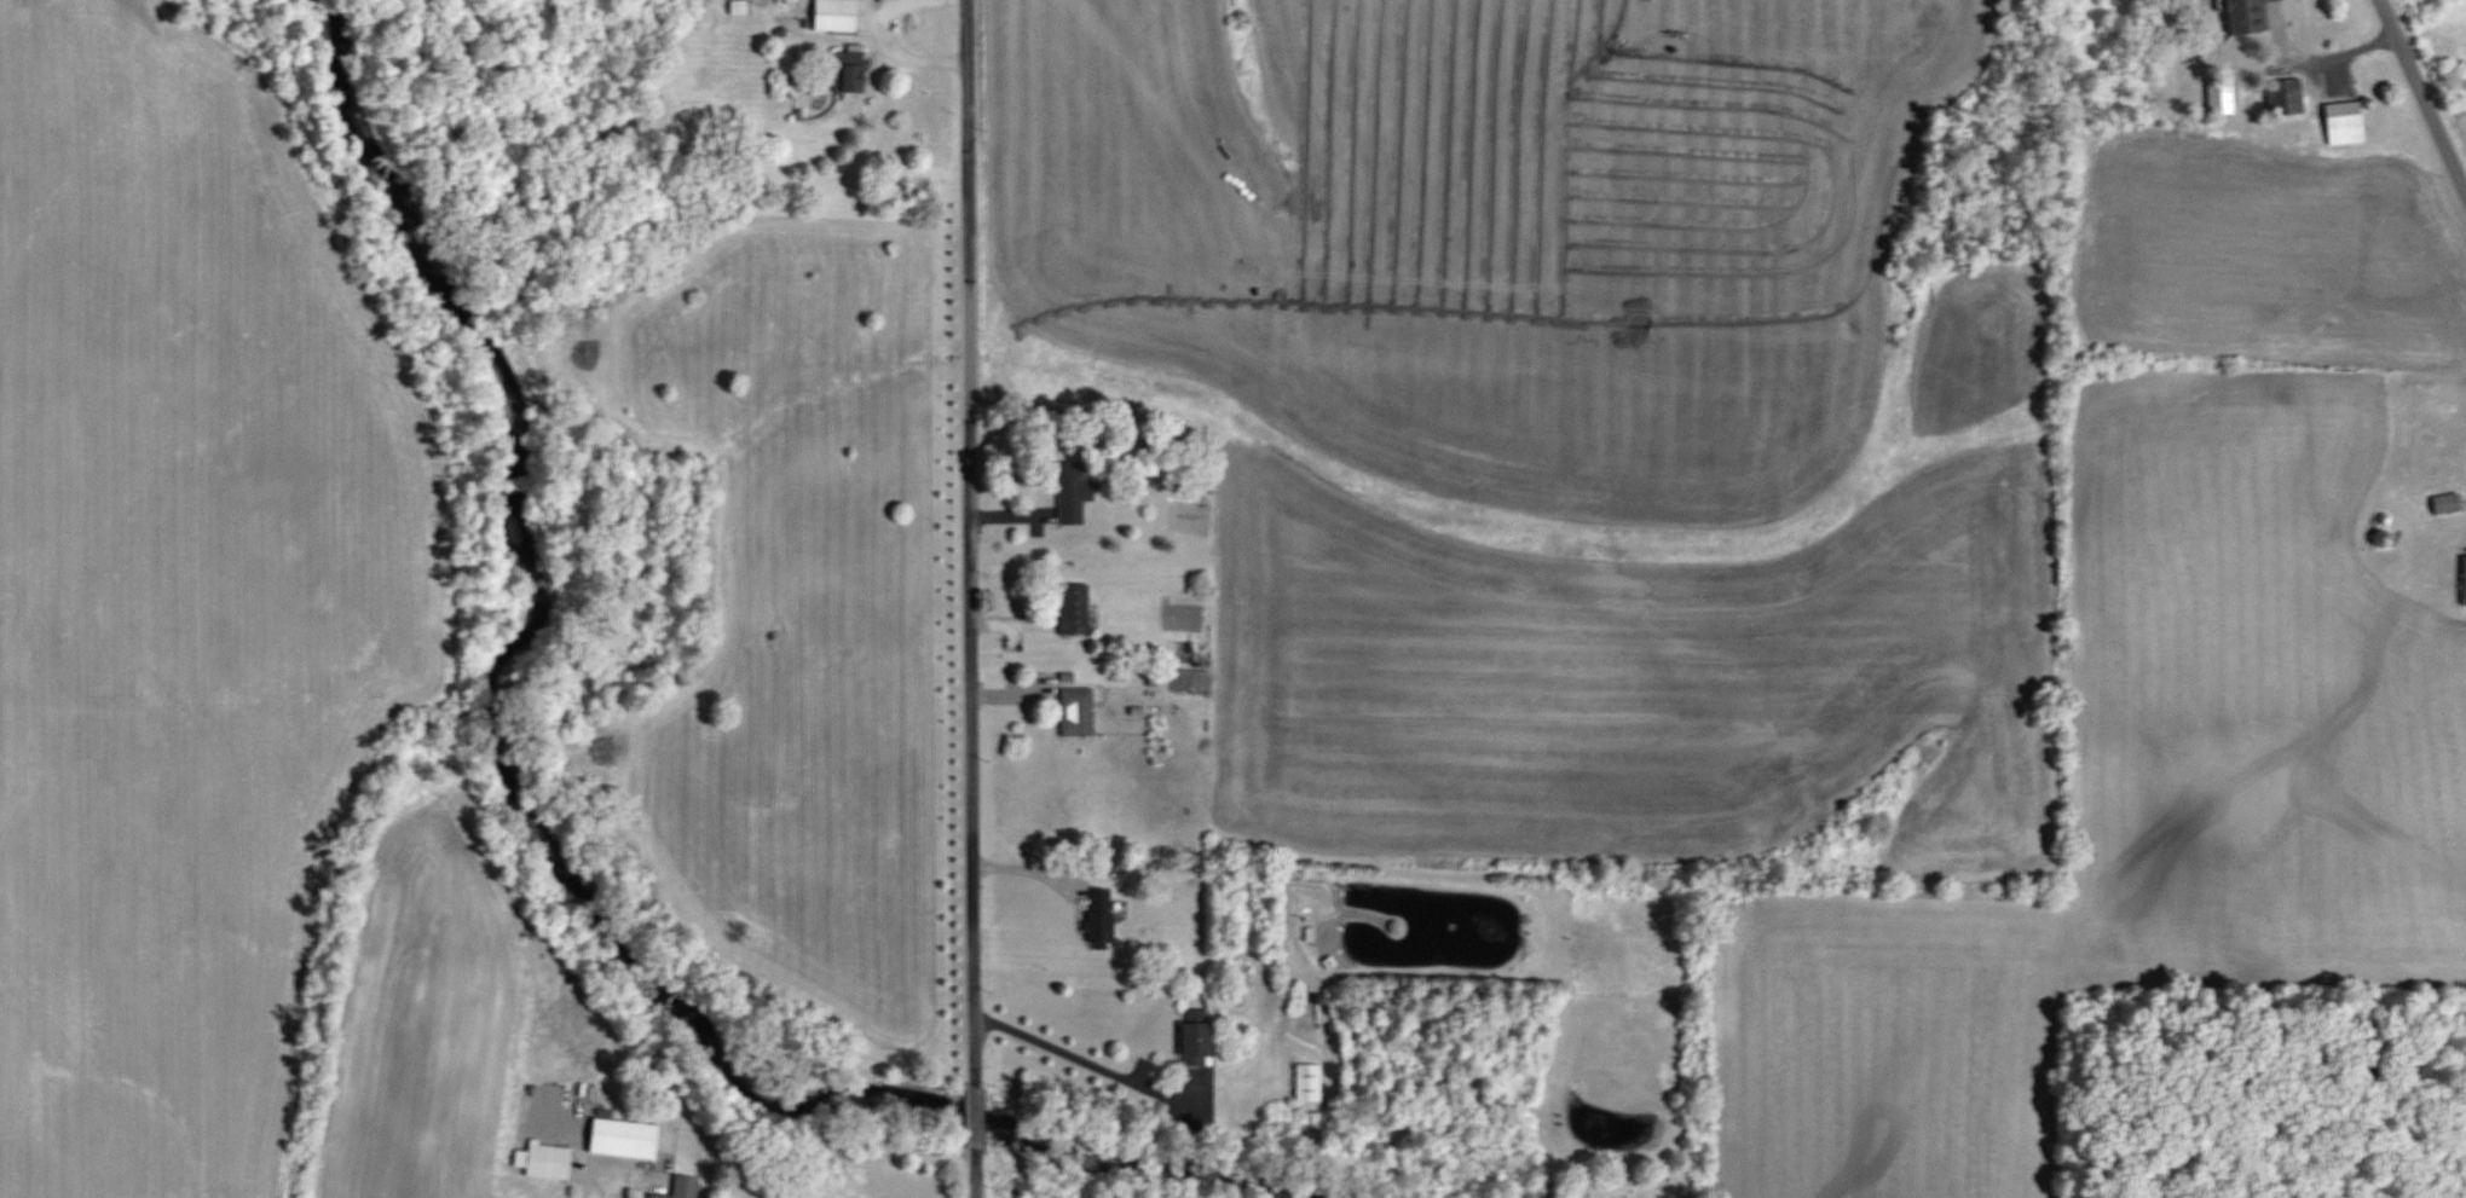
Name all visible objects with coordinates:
building: (2302, 8)
building: (834, 15)
road: (888, 42)
building: (848, 69)
building: (2220, 96)
building: (2286, 96)
road: (2418, 104)
building: (2344, 121)
building: (1074, 491)
building: (2447, 502)
building: (2381, 537)
building: (2465, 579)
road: (965, 598)
building: (1074, 607)
building: (1076, 711)
building: (1102, 916)
building: (1195, 1042)
road: (1059, 1059)
building: (1309, 1082)
building: (622, 1138)
building: (548, 1161)
road: (591, 1182)
building: (680, 1188)

